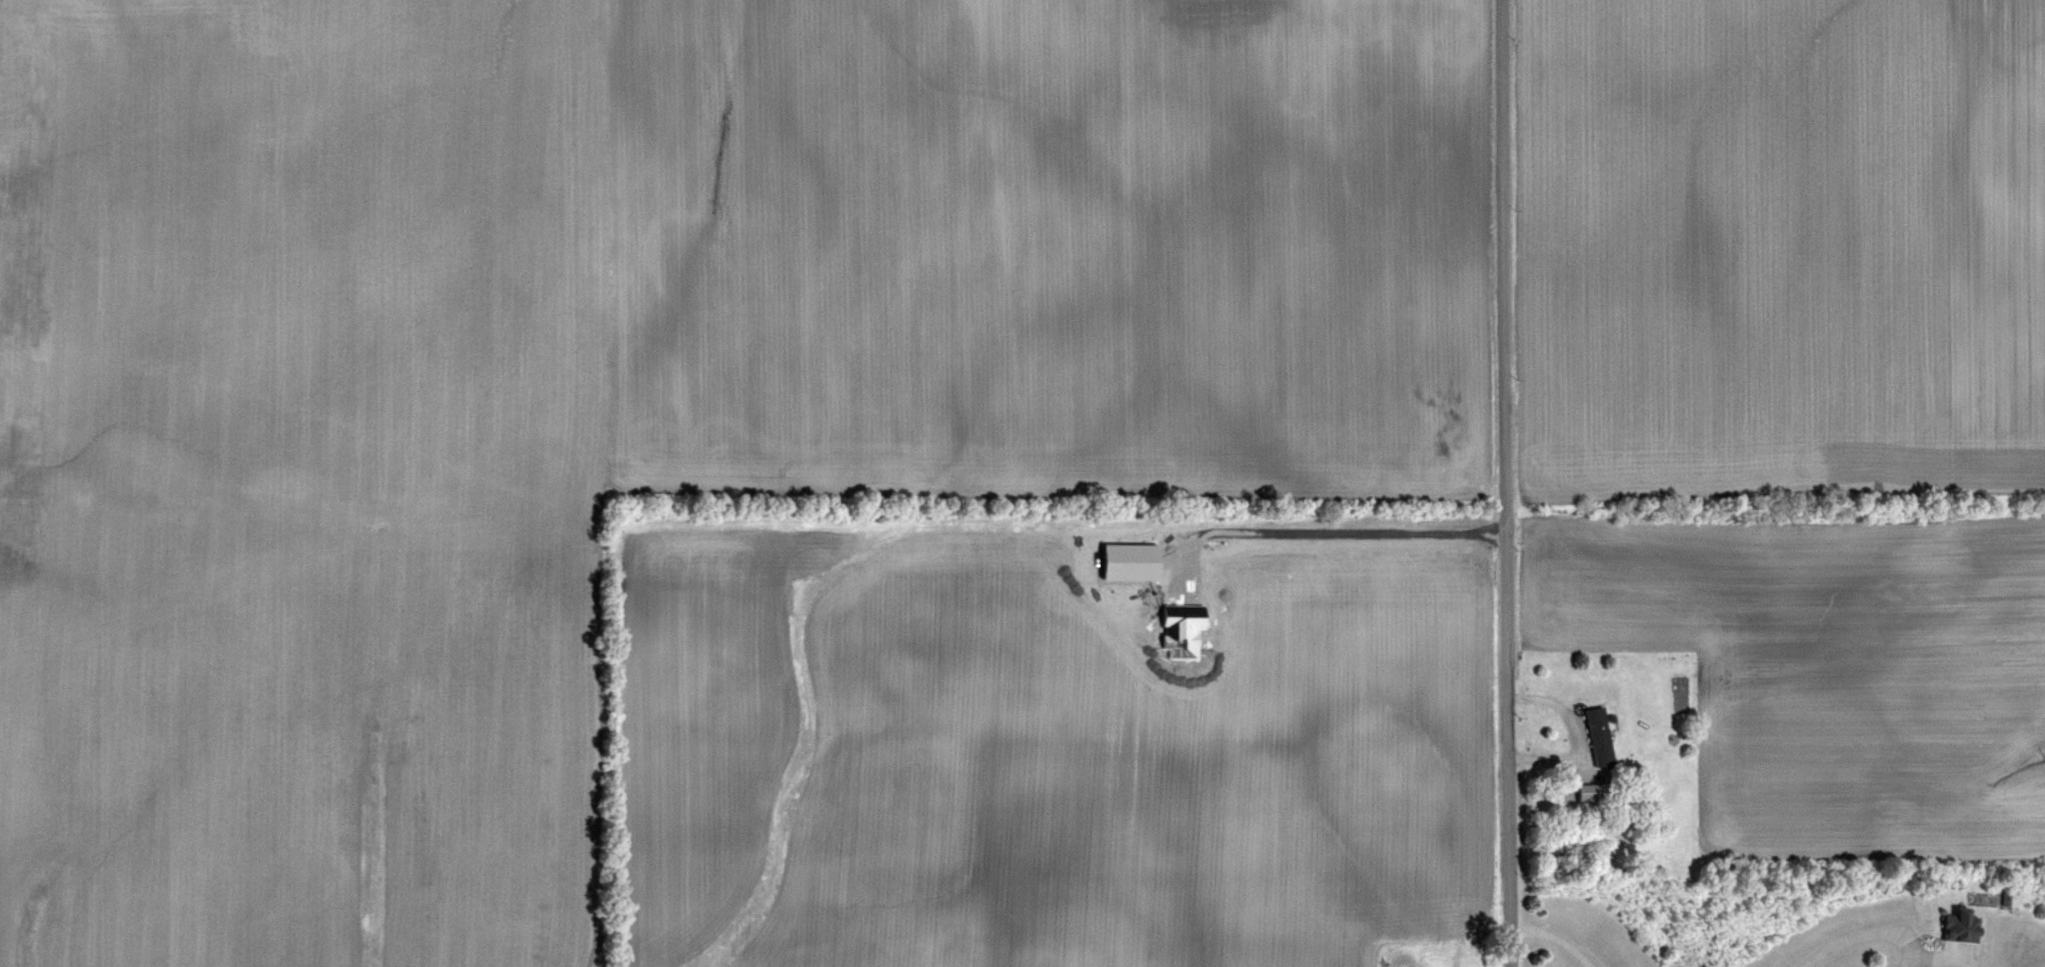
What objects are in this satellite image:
road: (1505, 483)
road: (1340, 529)
road: (1574, 736)
building: (1603, 737)
building: (1598, 792)
building: (1963, 928)
road: (1556, 933)
road: (1845, 938)

